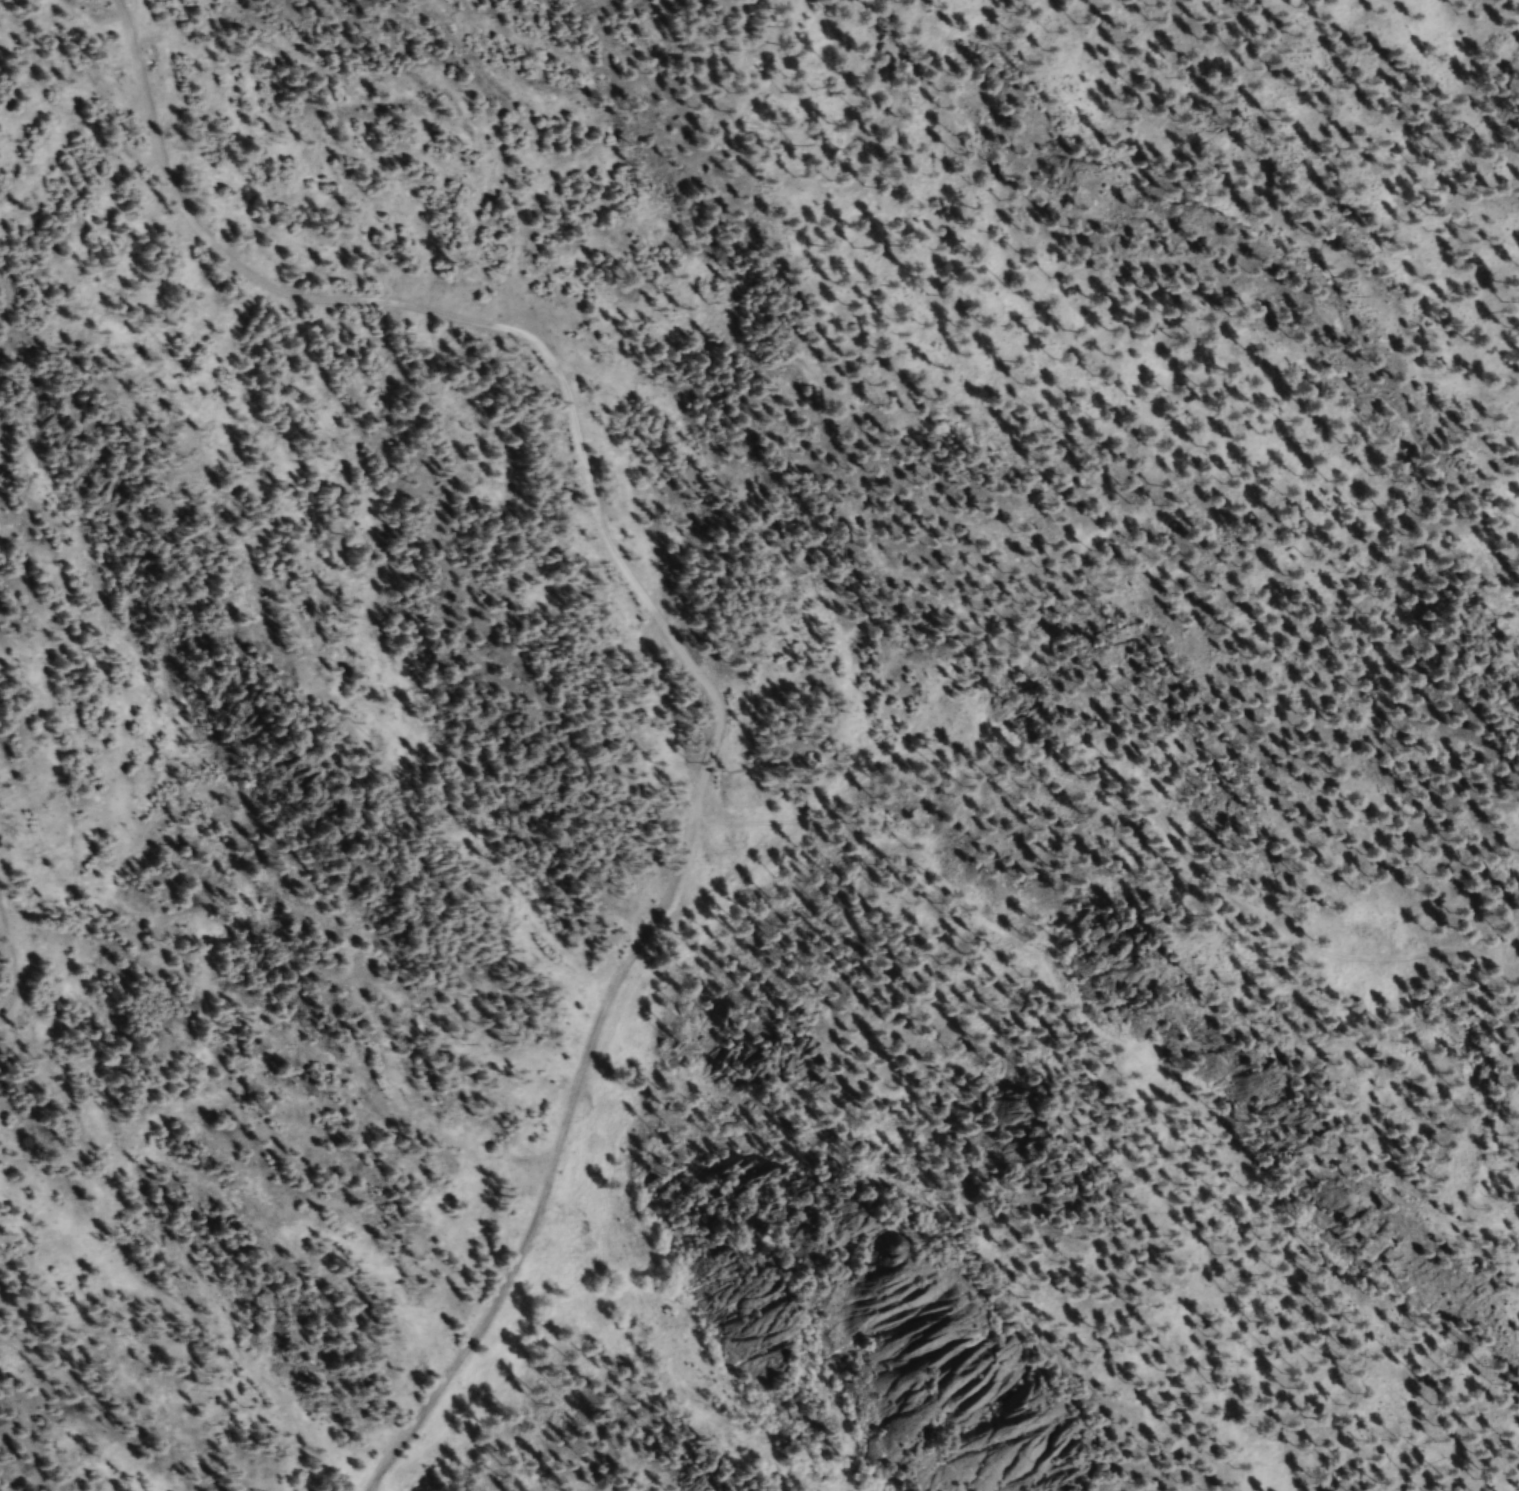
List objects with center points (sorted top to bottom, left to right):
road: (671, 641)
road: (1121, 800)
road: (8, 964)
building: (999, 1117)

